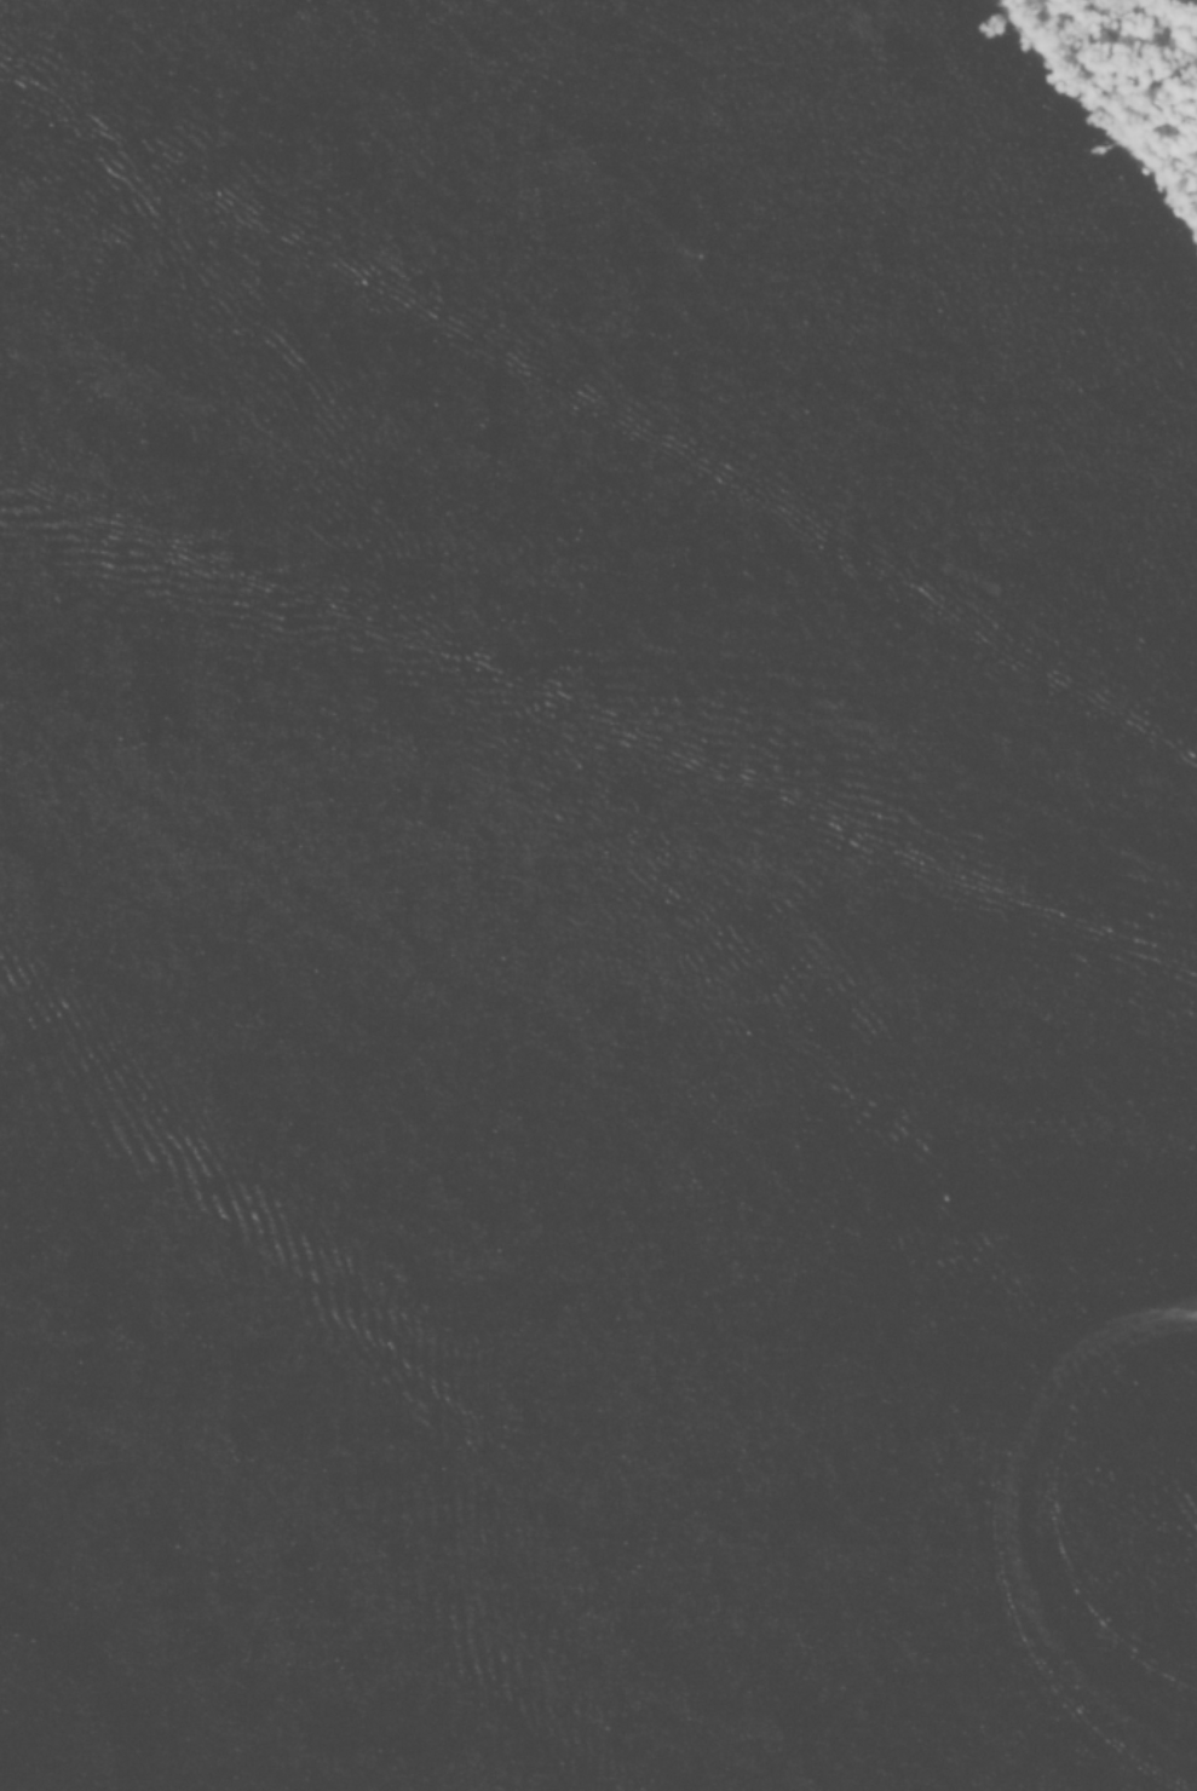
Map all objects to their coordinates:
park: (1123, 91)
river: (133, 1585)

